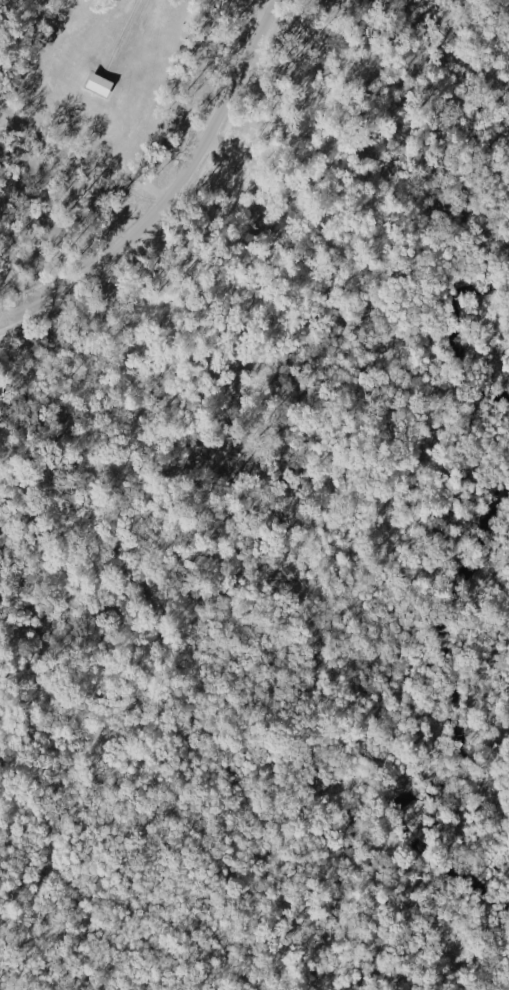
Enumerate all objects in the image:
road: (248, 8)
road: (117, 38)
parking lot: (235, 51)
road: (253, 83)
building: (96, 84)
road: (222, 148)
road: (150, 185)
road: (170, 193)
road: (110, 281)
river: (454, 333)
park: (254, 495)
river: (452, 728)

